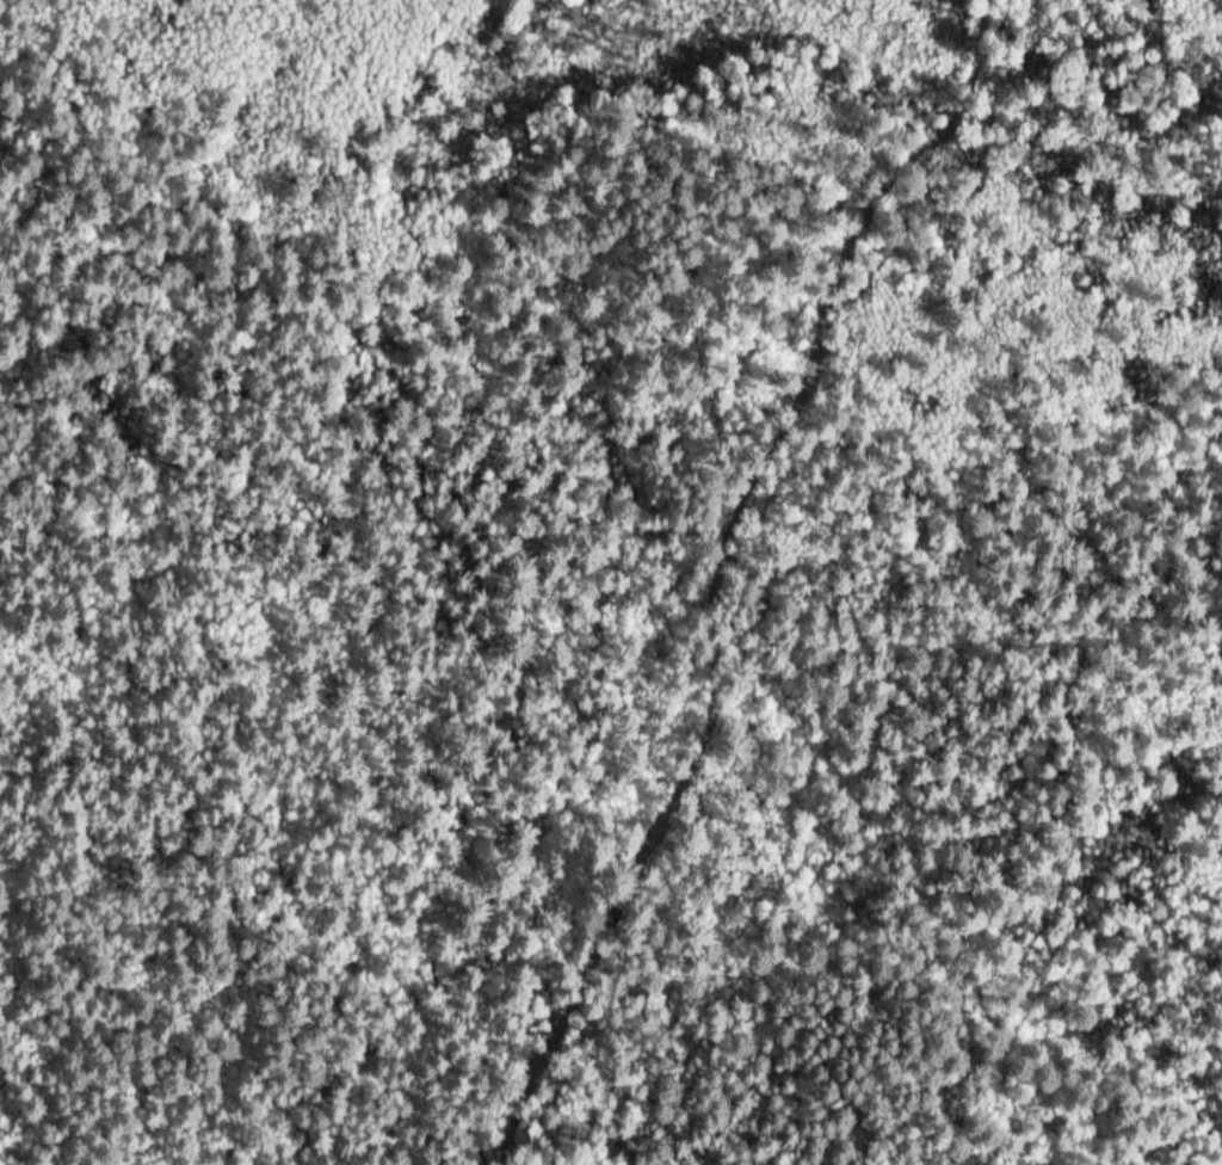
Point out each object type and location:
road: (754, 590)

